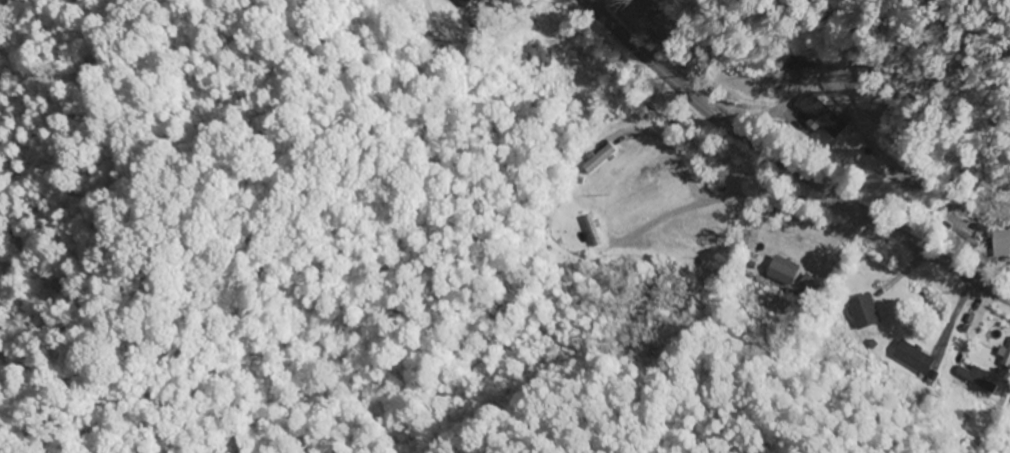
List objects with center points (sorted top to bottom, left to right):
road: (787, 164)
building: (781, 271)
building: (1007, 358)
building: (974, 377)

